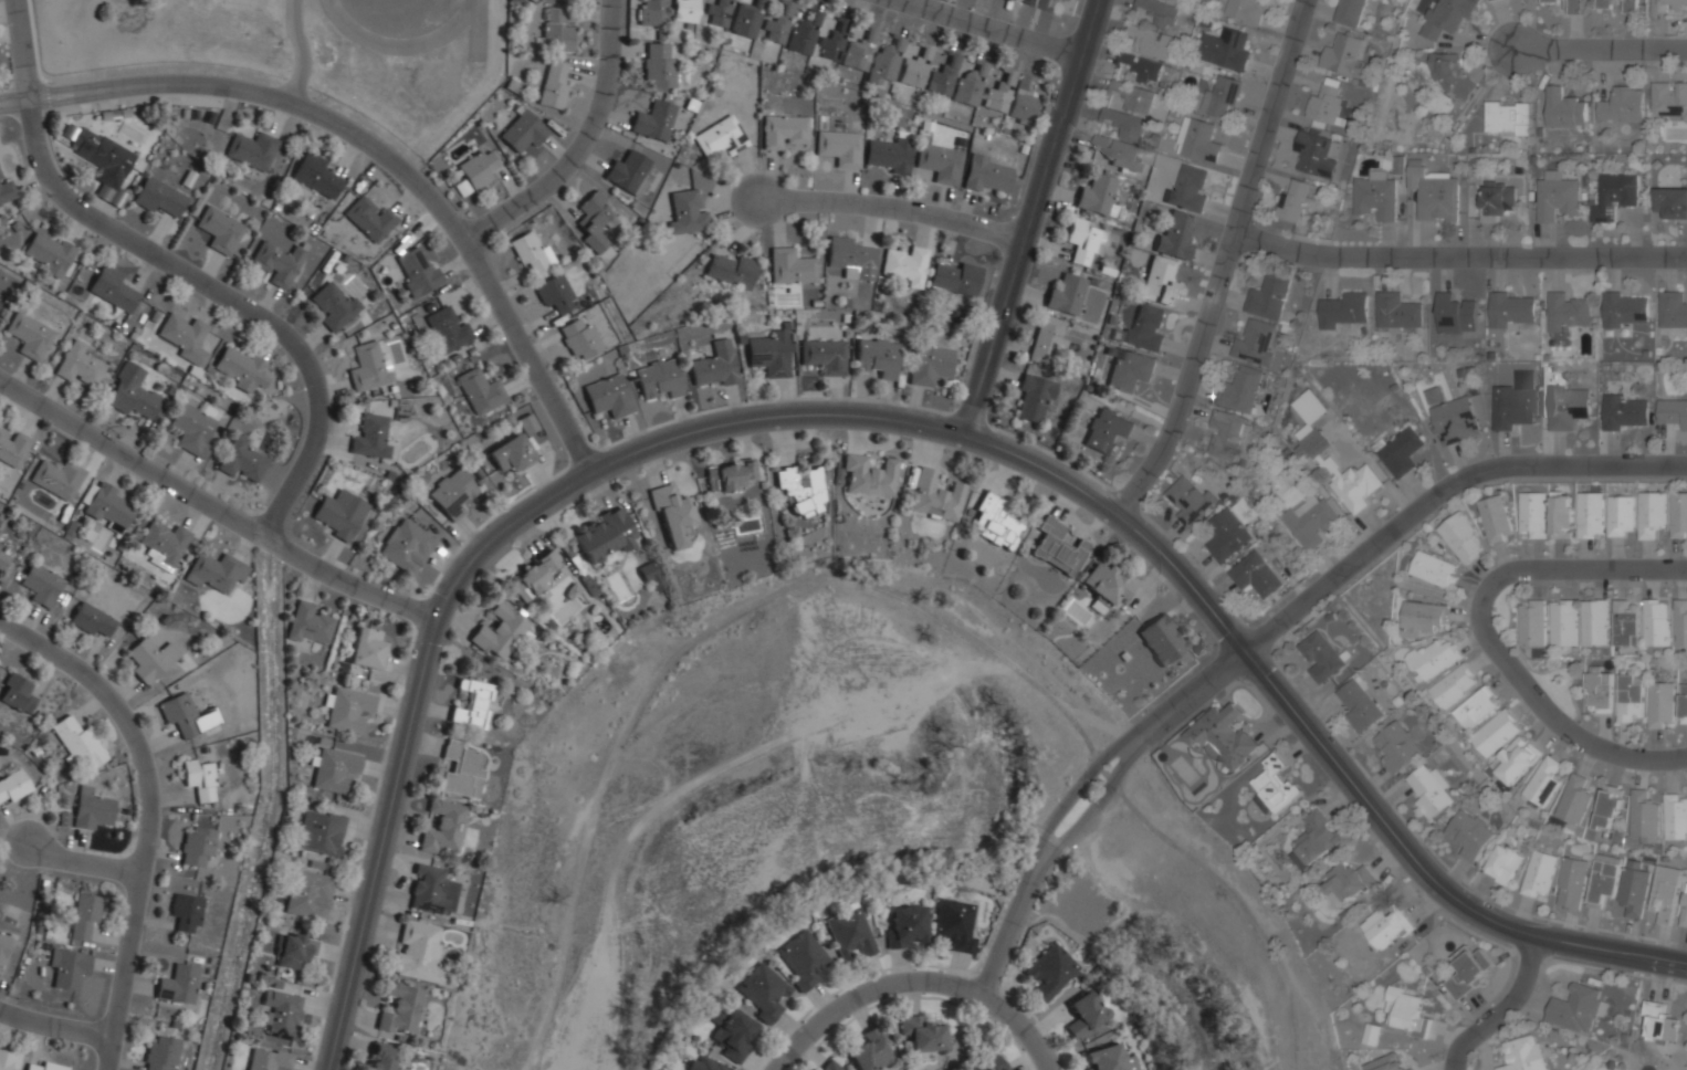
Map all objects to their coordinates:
building: (554, 0)
building: (1178, 1)
building: (1033, 2)
building: (1047, 4)
building: (1614, 6)
building: (1669, 7)
building: (1573, 9)
building: (685, 11)
building: (1246, 11)
building: (651, 12)
building: (1349, 12)
building: (719, 13)
park: (399, 14)
building: (1447, 17)
building: (744, 20)
building: (778, 24)
road: (996, 29)
building: (1155, 29)
track: (353, 30)
building: (556, 31)
building: (805, 33)
building: (832, 43)
road: (298, 49)
road: (1600, 49)
building: (1229, 50)
building: (859, 51)
building: (1343, 54)
building: (886, 62)
building: (659, 65)
building: (1142, 66)
building: (913, 72)
building: (1449, 74)
building: (944, 76)
building: (555, 85)
building: (968, 86)
building: (999, 92)
building: (1134, 96)
building: (1222, 98)
building: (1669, 99)
building: (1023, 101)
building: (1327, 105)
building: (1622, 105)
building: (1564, 108)
building: (1508, 118)
building: (653, 120)
building: (1125, 125)
building: (784, 130)
building: (69, 132)
building: (523, 132)
building: (721, 137)
building: (1199, 140)
road: (579, 143)
road: (378, 147)
building: (840, 148)
building: (252, 150)
building: (1118, 153)
building: (890, 154)
building: (1314, 154)
building: (102, 157)
building: (941, 162)
building: (478, 169)
building: (629, 171)
building: (988, 175)
building: (316, 176)
building: (1188, 189)
building: (7, 191)
building: (1434, 192)
building: (1555, 195)
building: (1376, 196)
building: (159, 197)
building: (1098, 197)
building: (1615, 197)
building: (1295, 198)
building: (1496, 200)
building: (1672, 202)
building: (687, 211)
road: (892, 212)
road: (1029, 218)
building: (370, 219)
building: (596, 222)
building: (220, 230)
building: (1176, 235)
building: (1086, 241)
building: (531, 252)
building: (49, 253)
building: (850, 259)
road: (1457, 259)
road: (1223, 262)
building: (277, 263)
building: (905, 265)
building: (789, 267)
road: (187, 269)
building: (418, 272)
building: (732, 272)
building: (956, 279)
building: (1160, 283)
building: (112, 290)
building: (555, 294)
building: (1067, 295)
building: (1269, 296)
building: (0, 302)
building: (334, 306)
building: (1343, 310)
building: (1625, 310)
building: (1673, 310)
building: (1512, 311)
building: (1565, 312)
building: (1396, 313)
building: (1454, 314)
building: (447, 329)
building: (1145, 329)
building: (30, 335)
building: (185, 337)
building: (579, 338)
building: (1046, 340)
building: (1255, 343)
building: (771, 355)
building: (826, 356)
building: (878, 358)
building: (80, 365)
building: (930, 365)
building: (369, 367)
building: (715, 367)
building: (242, 369)
building: (1131, 369)
building: (659, 379)
building: (1241, 390)
building: (480, 391)
building: (134, 394)
building: (608, 397)
building: (1034, 399)
building: (1566, 403)
building: (1311, 407)
building: (1511, 407)
building: (1625, 411)
building: (1673, 411)
building: (1453, 419)
road: (898, 423)
building: (1107, 432)
building: (1227, 432)
building: (370, 437)
building: (1314, 444)
building: (12, 447)
building: (1400, 451)
building: (512, 453)
building: (241, 460)
building: (869, 475)
building: (730, 476)
building: (57, 479)
building: (1356, 489)
building: (801, 490)
building: (452, 493)
building: (935, 496)
building: (1190, 501)
road: (214, 503)
building: (108, 507)
building: (1652, 513)
building: (340, 514)
building: (672, 514)
building: (1532, 515)
building: (1561, 515)
building: (1590, 515)
building: (1679, 515)
building: (1621, 516)
building: (1495, 520)
building: (1311, 521)
building: (995, 522)
building: (606, 535)
building: (1227, 536)
road: (1379, 536)
building: (1461, 538)
building: (164, 544)
building: (0, 546)
building: (407, 546)
building: (1057, 547)
building: (3, 563)
building: (1434, 569)
building: (217, 573)
building: (650, 575)
building: (1257, 575)
building: (533, 576)
building: (1109, 584)
building: (41, 586)
building: (1098, 605)
building: (1423, 617)
building: (92, 618)
building: (1593, 622)
building: (1656, 622)
building: (1563, 623)
building: (1625, 623)
building: (1680, 623)
building: (308, 625)
building: (1531, 625)
building: (500, 631)
road: (1485, 634)
road: (699, 636)
building: (1162, 640)
building: (367, 649)
building: (1321, 655)
building: (1432, 659)
building: (150, 660)
building: (1454, 685)
building: (1597, 690)
building: (15, 694)
building: (1627, 696)
building: (1684, 703)
building: (473, 704)
building: (1359, 705)
building: (1659, 705)
building: (1478, 707)
building: (348, 709)
building: (185, 717)
building: (1496, 734)
building: (1223, 735)
building: (77, 746)
building: (1397, 747)
building: (34, 752)
building: (1516, 760)
building: (335, 770)
building: (461, 770)
building: (201, 778)
building: (1543, 783)
building: (1275, 784)
building: (14, 786)
building: (1431, 790)
road: (1071, 791)
building: (1574, 800)
road: (1091, 807)
building: (1610, 808)
building: (90, 809)
road: (150, 812)
building: (1644, 817)
building: (1676, 817)
building: (62, 820)
building: (443, 828)
building: (319, 832)
building: (1469, 833)
building: (1314, 839)
building: (197, 848)
road: (82, 859)
building: (1503, 864)
building: (1539, 874)
building: (1603, 879)
building: (1347, 883)
building: (1572, 883)
building: (1634, 888)
building: (429, 889)
road: (1229, 893)
building: (1665, 893)
building: (308, 894)
building: (187, 911)
building: (1684, 912)
building: (81, 915)
building: (955, 925)
road: (1008, 925)
building: (907, 926)
building: (851, 933)
building: (4, 948)
building: (294, 951)
building: (418, 952)
building: (804, 959)
building: (69, 968)
building: (1051, 971)
building: (1468, 971)
building: (177, 985)
road: (914, 986)
building: (765, 992)
building: (1578, 1007)
building: (401, 1008)
road: (1502, 1010)
building: (1406, 1011)
building: (282, 1014)
building: (1086, 1016)
building: (1660, 1024)
road: (55, 1026)
building: (734, 1035)
building: (922, 1035)
building: (872, 1051)
building: (1523, 1053)
building: (161, 1056)
building: (383, 1058)
building: (4, 1059)
building: (1106, 1059)
building: (269, 1060)
building: (991, 1063)
building: (1385, 1063)
building: (709, 1064)
building: (45, 1067)
building: (832, 1067)
building: (1412, 1069)

